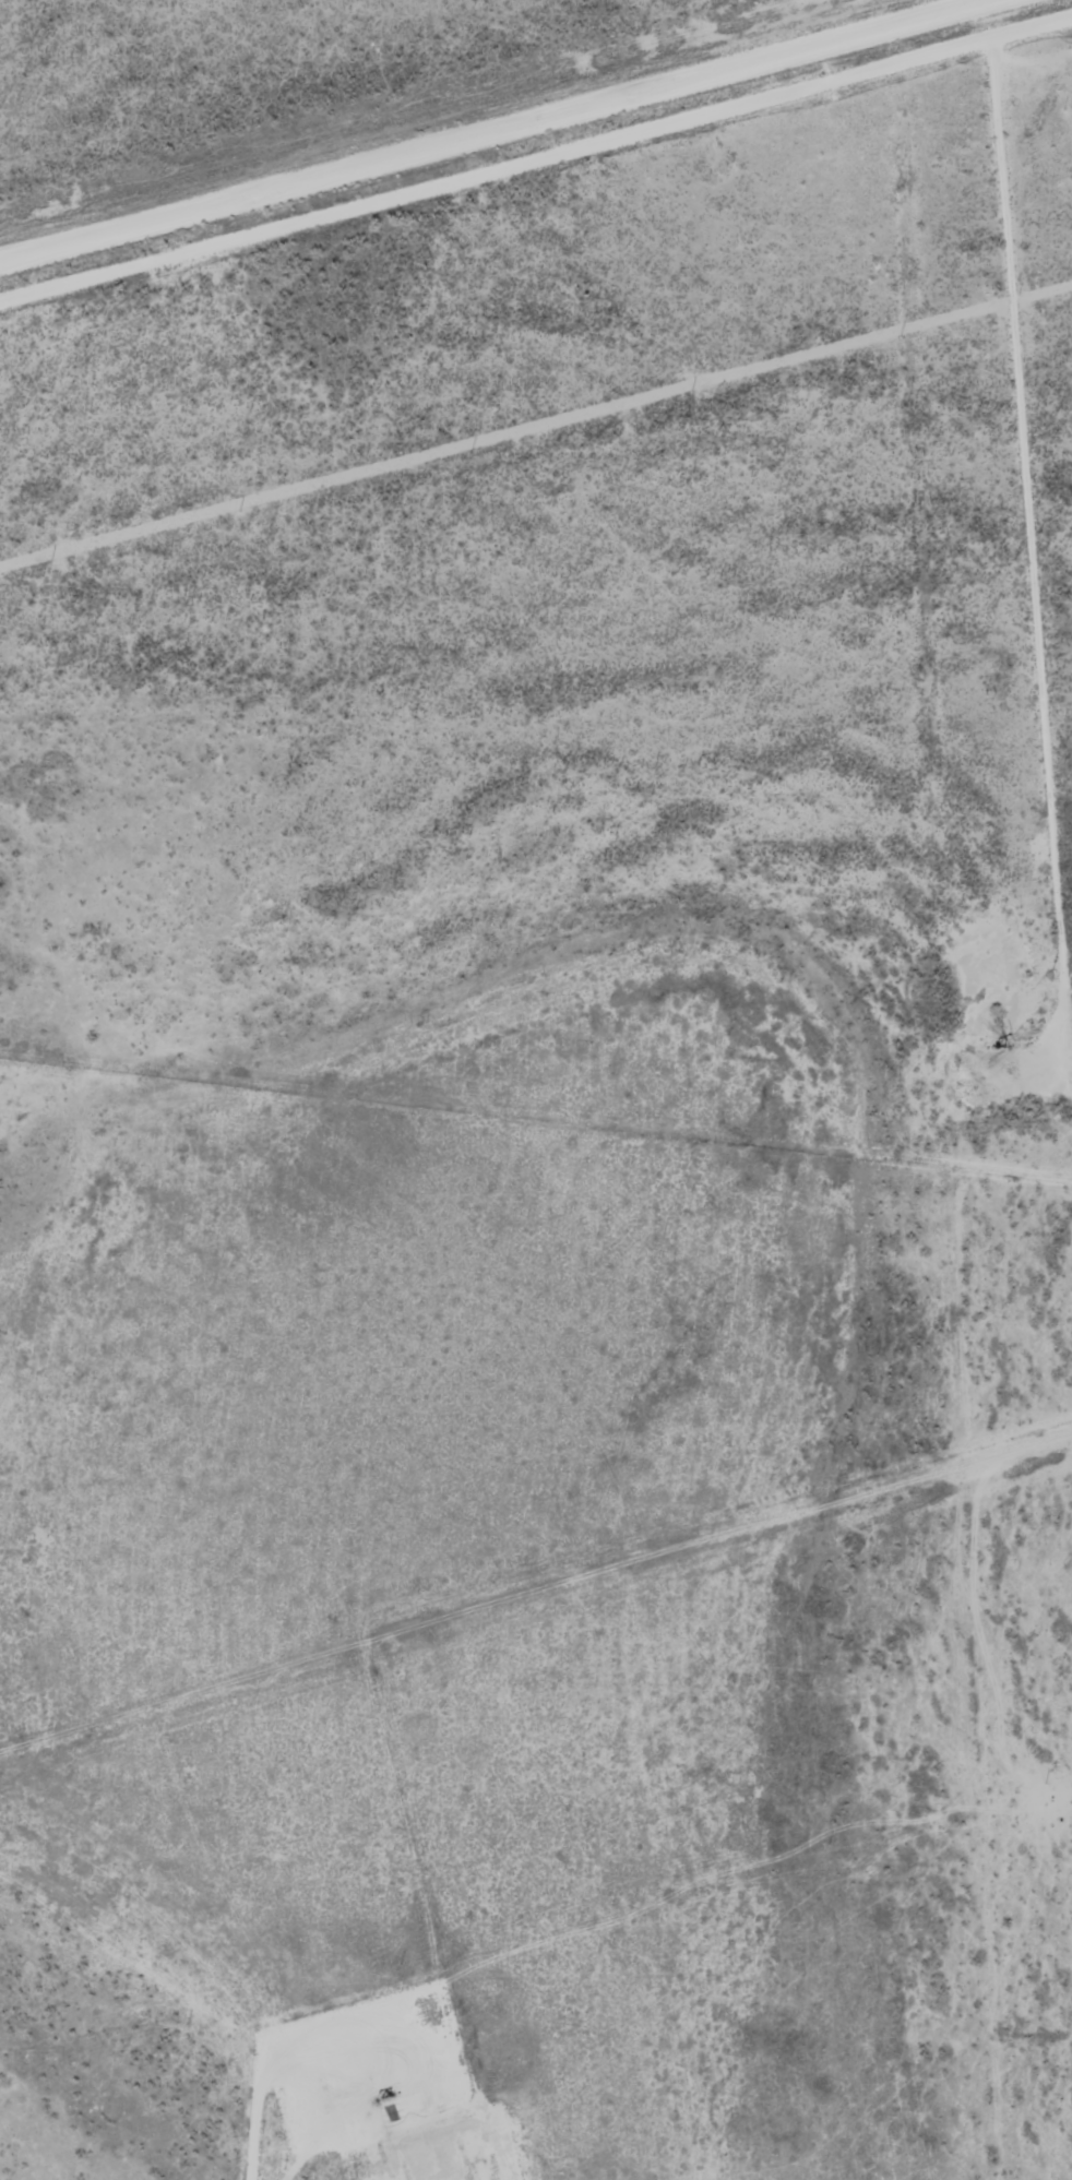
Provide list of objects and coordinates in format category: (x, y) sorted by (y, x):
road: (536, 151)

